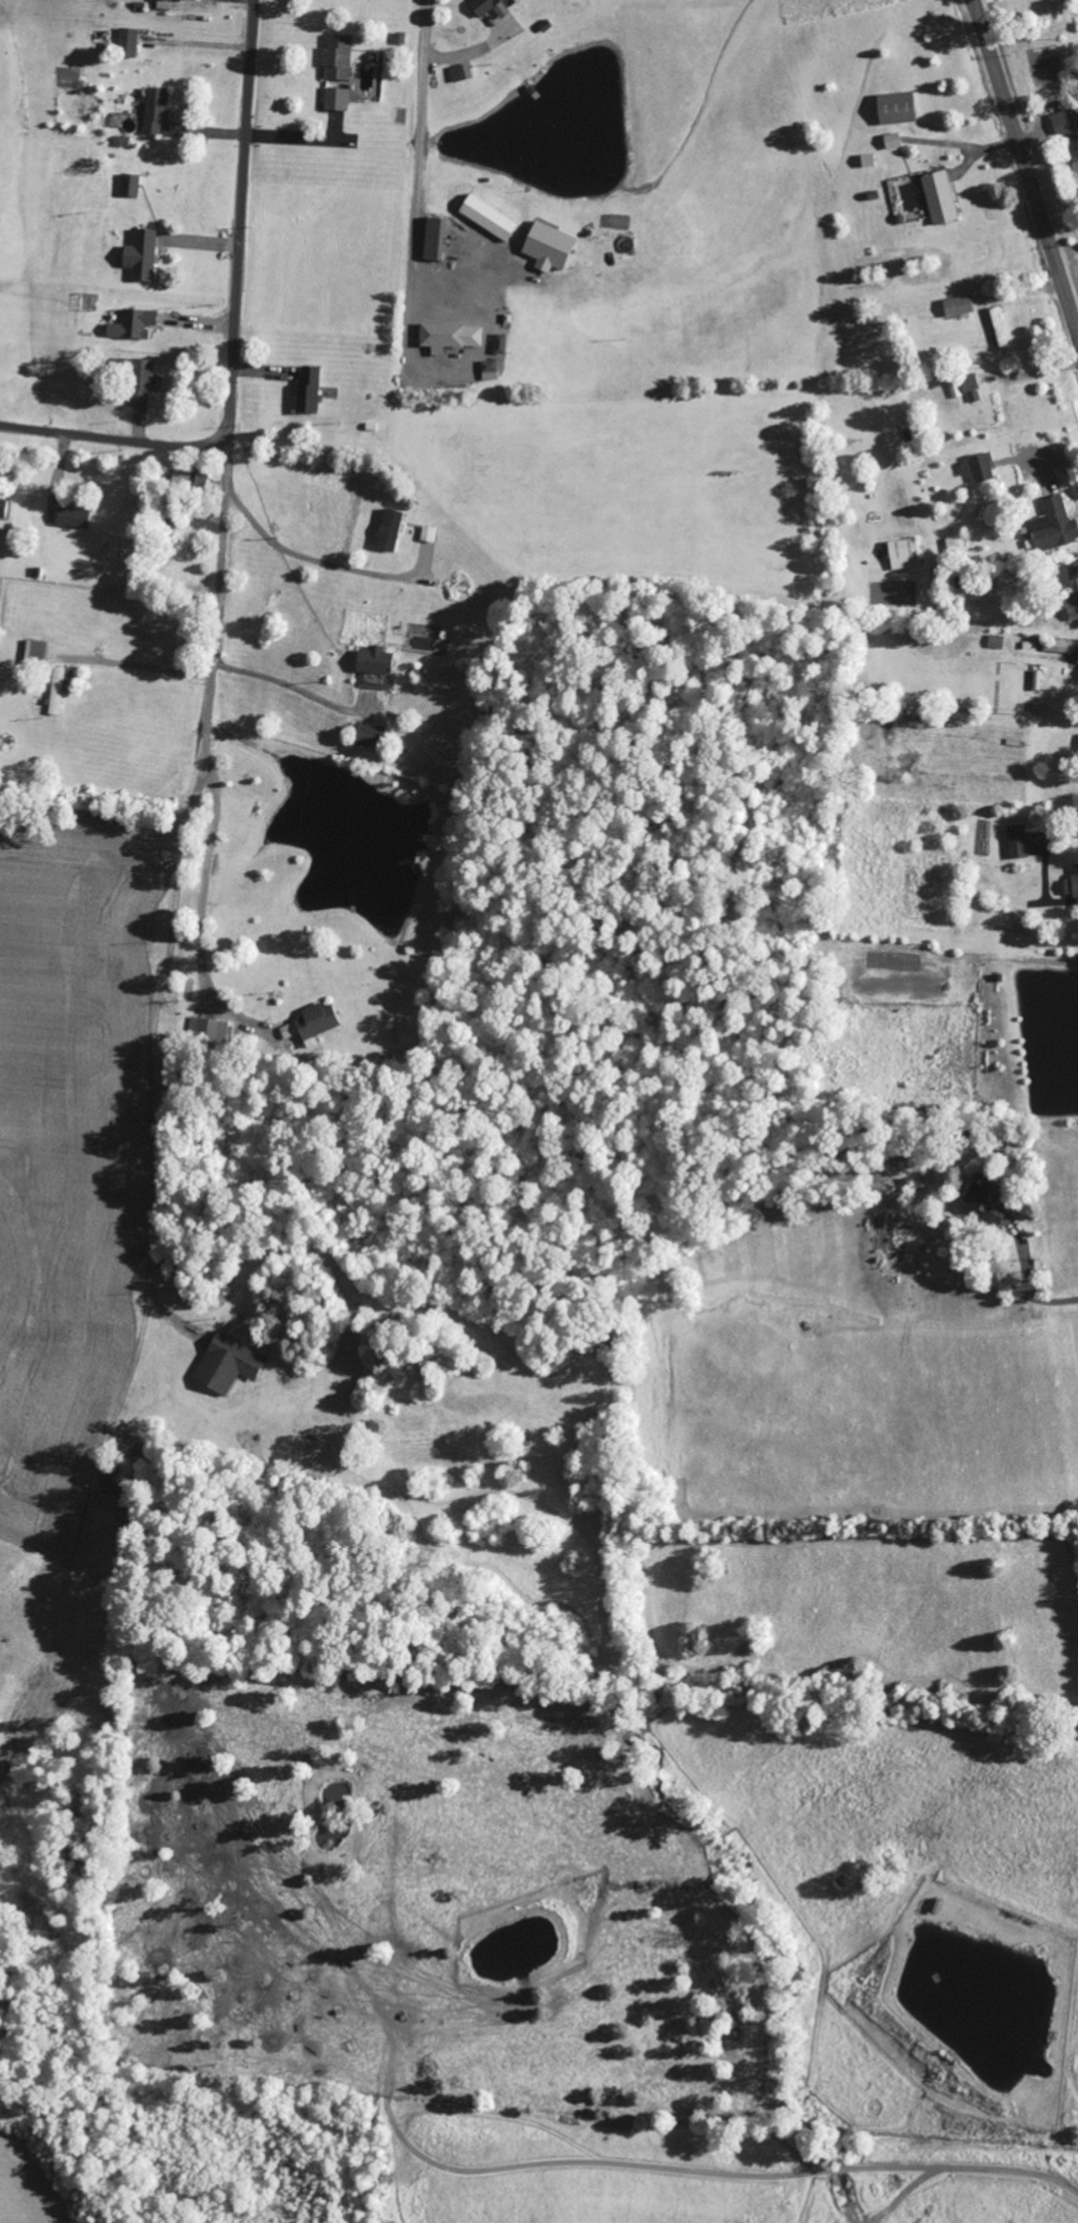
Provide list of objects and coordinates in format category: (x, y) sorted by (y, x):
building: (166, 4)
building: (491, 7)
building: (130, 43)
building: (339, 58)
building: (464, 73)
building: (338, 99)
building: (899, 108)
building: (158, 110)
building: (1067, 125)
building: (895, 142)
road: (420, 149)
building: (1076, 156)
road: (1025, 166)
building: (132, 185)
building: (943, 199)
building: (490, 218)
road: (241, 225)
building: (436, 239)
building: (144, 256)
building: (960, 307)
building: (136, 325)
building: (453, 337)
building: (503, 345)
building: (492, 371)
building: (144, 382)
building: (972, 389)
building: (311, 390)
road: (113, 440)
building: (981, 469)
building: (4, 509)
building: (75, 518)
building: (1061, 521)
building: (392, 531)
building: (906, 555)
building: (1075, 581)
road: (217, 611)
building: (1062, 648)
building: (378, 661)
building: (62, 689)
building: (373, 736)
building: (1020, 842)
building: (1074, 887)
building: (315, 1022)
building: (211, 1030)
building: (918, 1183)
building: (991, 1201)
building: (229, 1363)
road: (1009, 1594)

